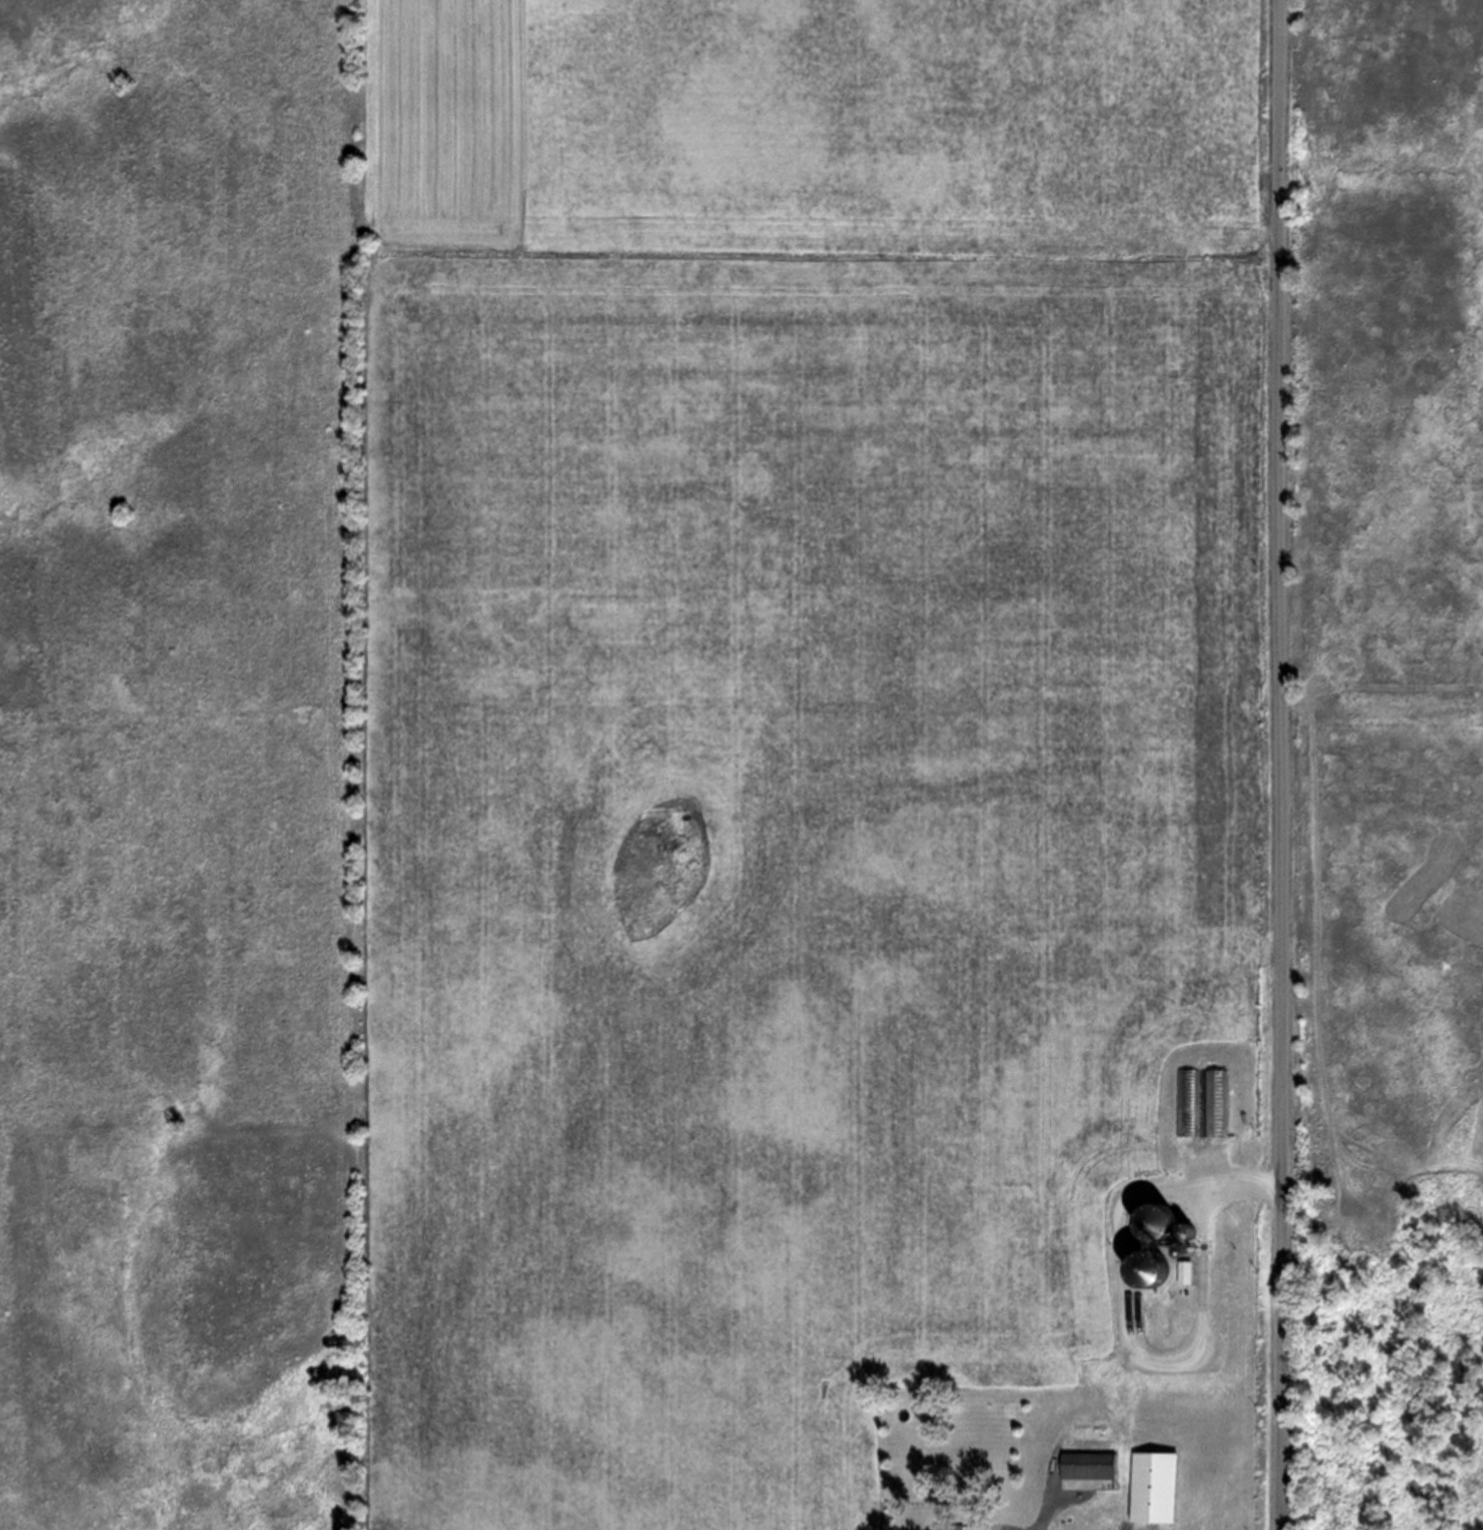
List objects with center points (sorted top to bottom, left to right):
road: (1283, 764)
building: (1086, 1433)
building: (1090, 1466)
building: (1153, 1488)
road: (1049, 1504)
building: (950, 1527)

